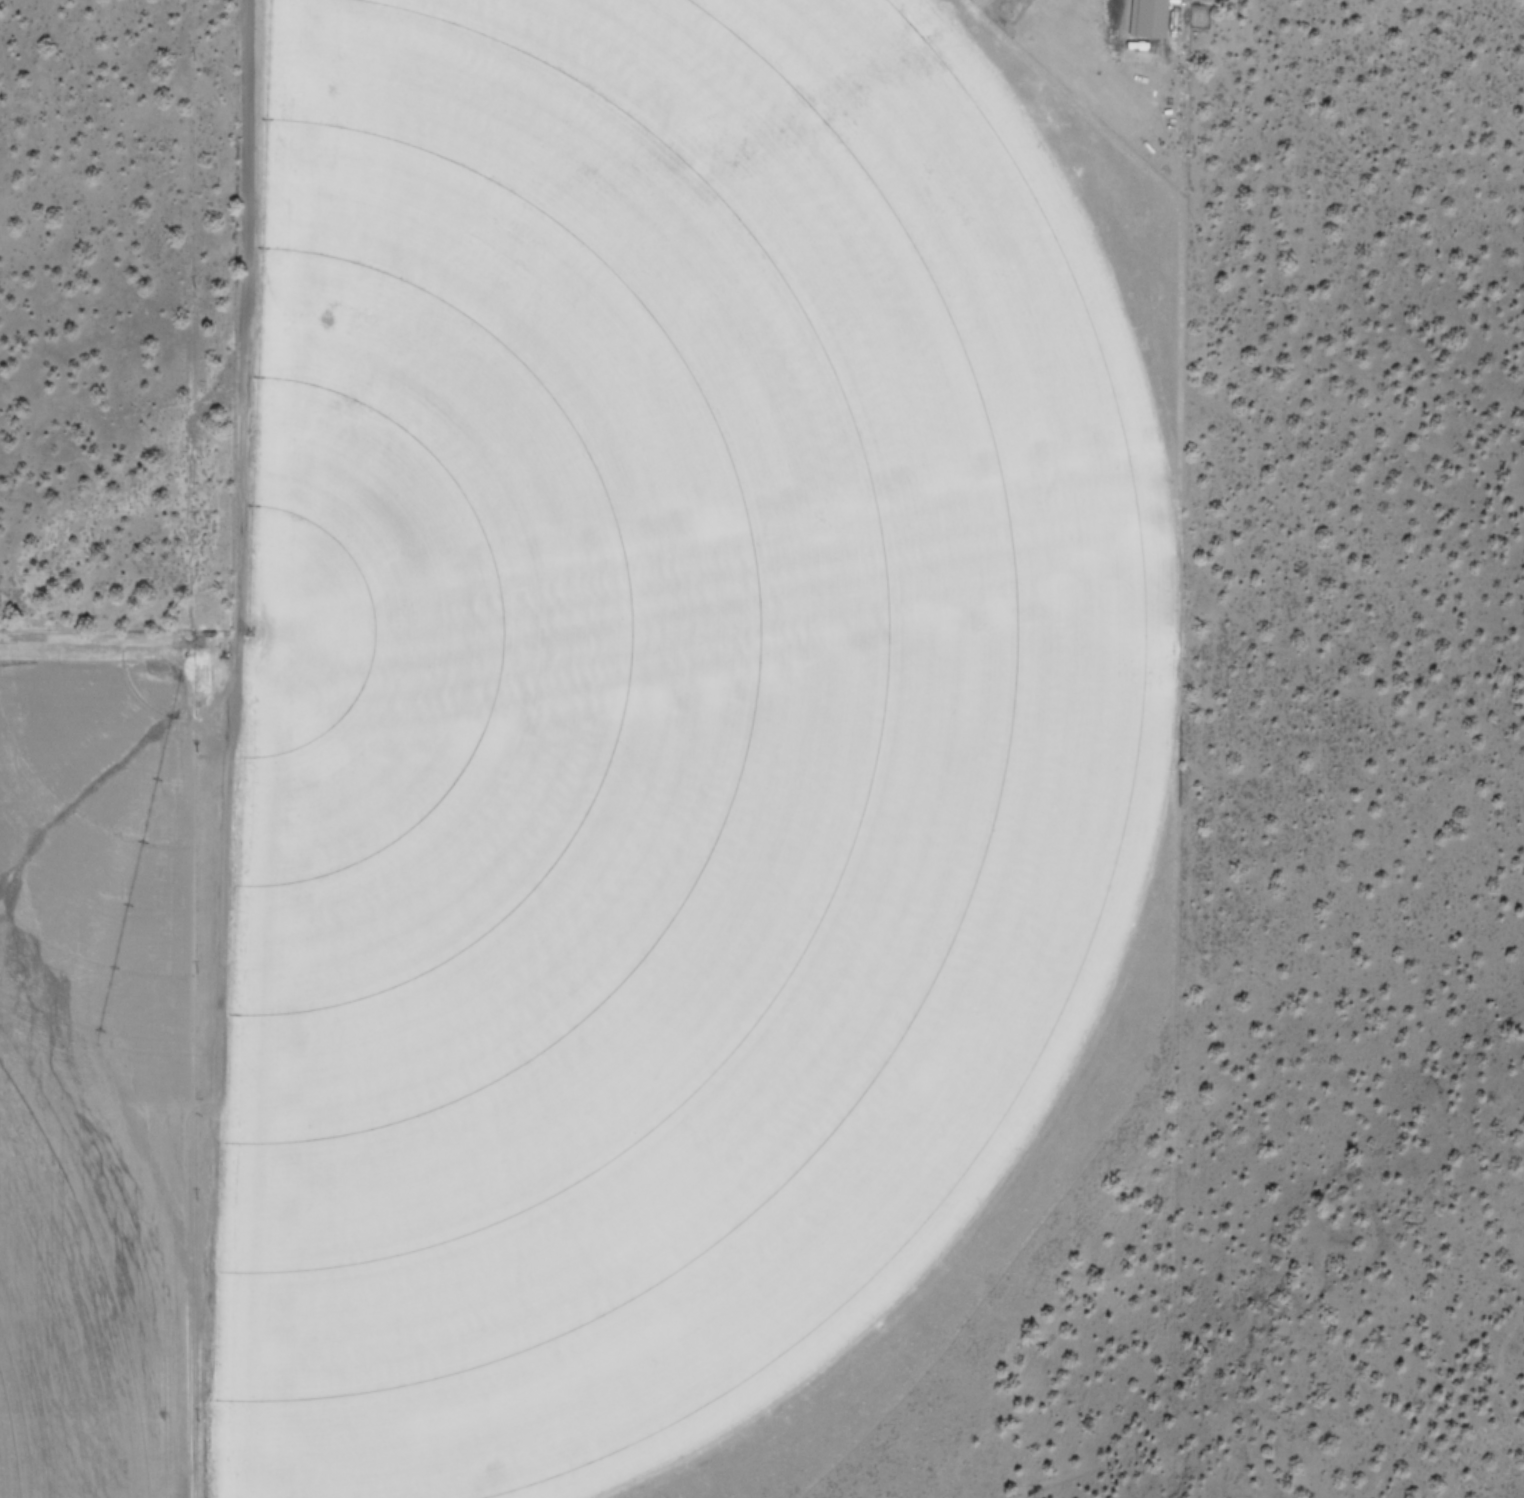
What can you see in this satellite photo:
building: (1148, 18)
crop: (607, 751)

